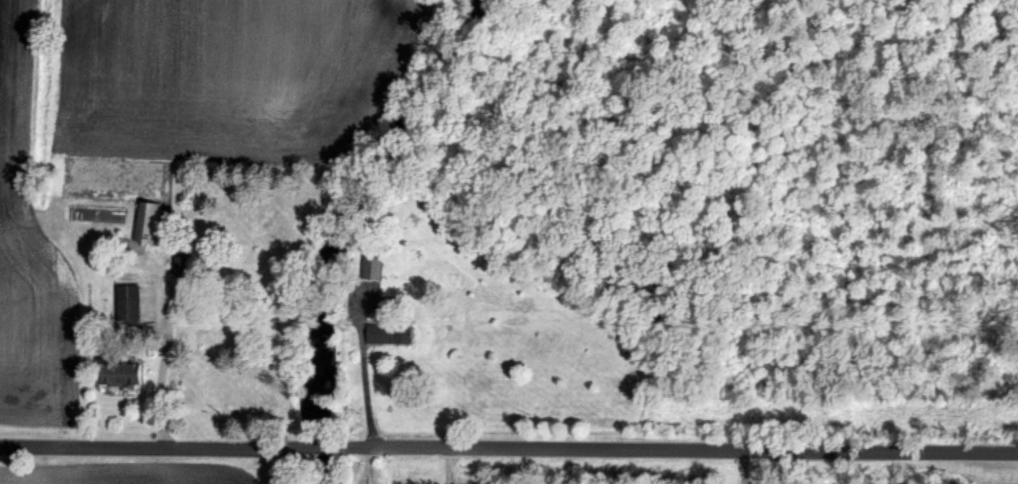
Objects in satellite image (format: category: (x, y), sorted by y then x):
building: (148, 221)
river: (361, 227)
building: (371, 264)
building: (128, 306)
building: (389, 334)
building: (125, 374)
road: (161, 383)
road: (368, 387)
road: (323, 448)
road: (155, 450)
road: (676, 451)
road: (371, 466)

